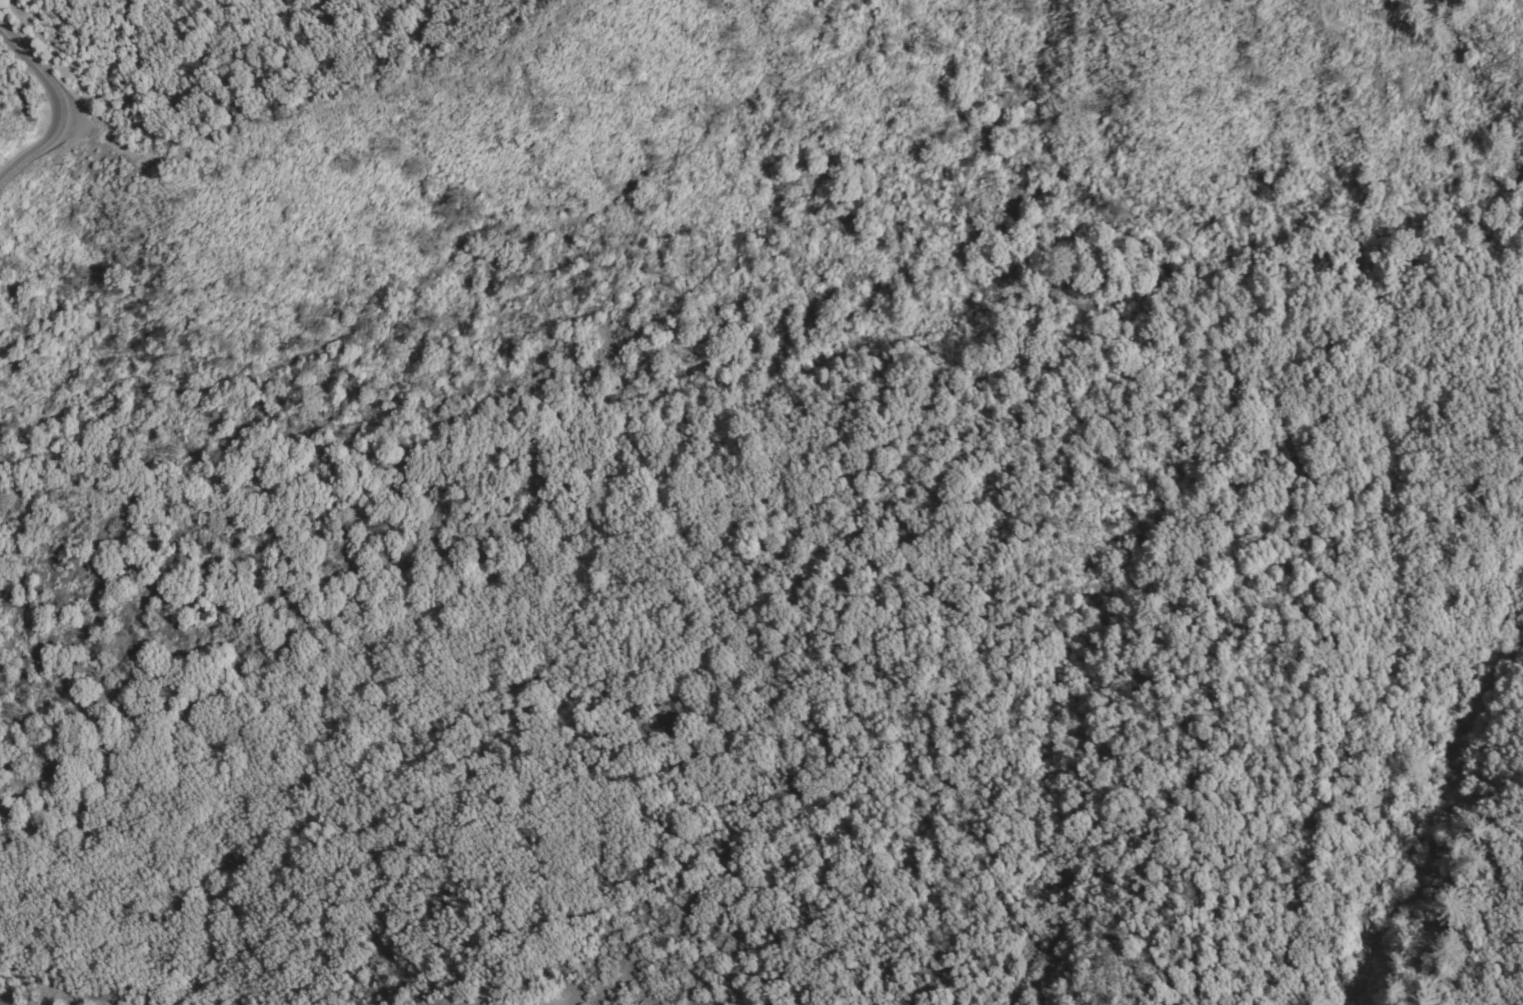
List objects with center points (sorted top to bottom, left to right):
road: (1235, 2)
road: (1150, 10)
road: (48, 105)
road: (425, 286)
road: (5, 1003)

